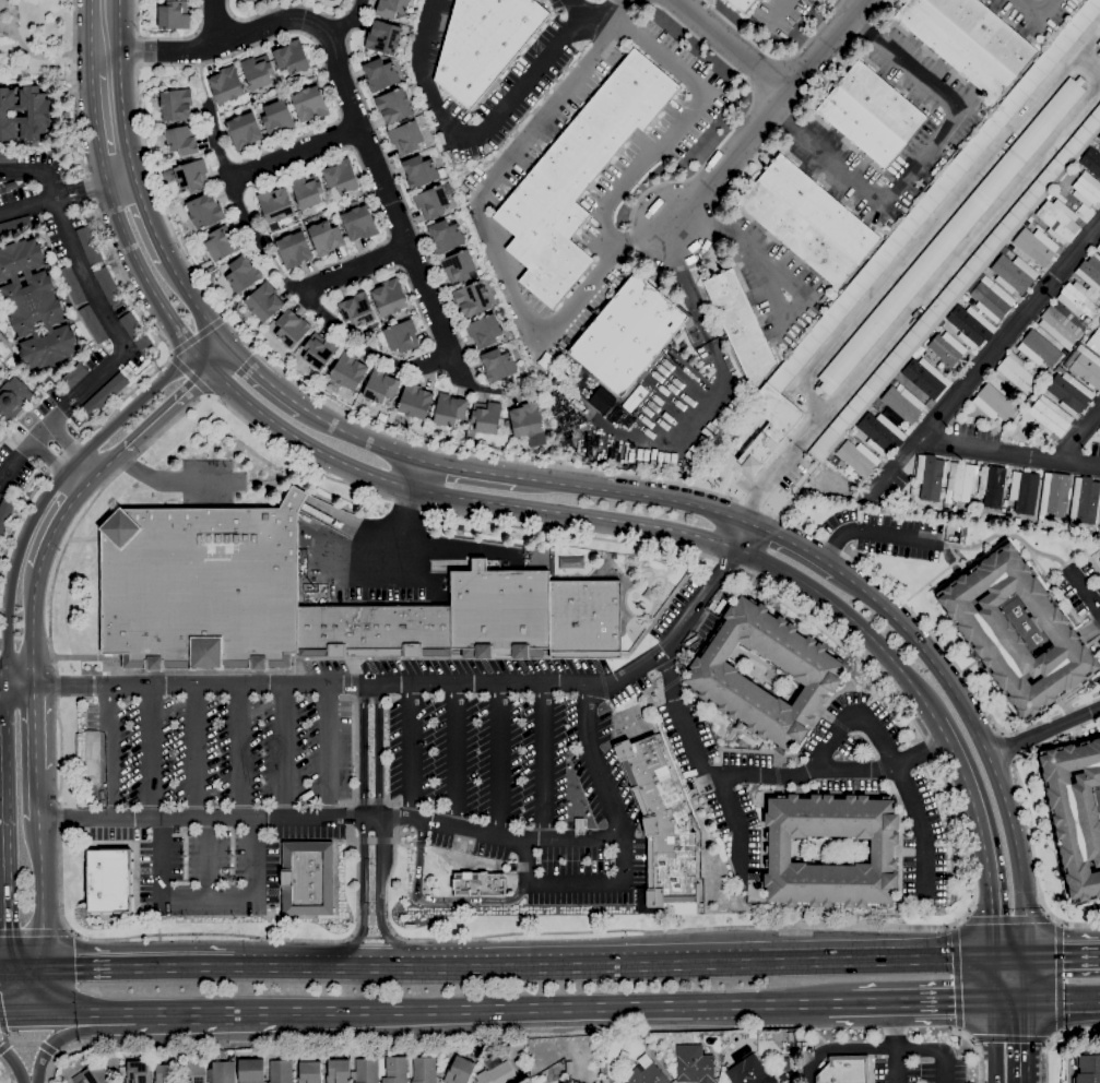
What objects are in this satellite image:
building: (248, 0)
road: (0, 4)
building: (742, 4)
road: (1027, 5)
building: (391, 8)
road: (779, 8)
road: (14, 9)
building: (173, 15)
road: (591, 17)
road: (348, 21)
road: (214, 22)
road: (73, 23)
building: (987, 32)
road: (165, 34)
road: (87, 37)
building: (383, 37)
park: (36, 38)
road: (1088, 39)
building: (1099, 43)
building: (484, 44)
road: (731, 45)
road: (145, 46)
road: (31, 47)
building: (956, 47)
building: (1099, 52)
road: (774, 56)
building: (292, 57)
building: (258, 71)
building: (380, 74)
building: (226, 84)
road: (121, 85)
building: (882, 100)
building: (310, 103)
building: (176, 104)
road: (353, 105)
building: (394, 105)
road: (767, 111)
building: (24, 112)
building: (277, 117)
road: (484, 120)
road: (533, 127)
building: (861, 127)
road: (96, 129)
building: (244, 130)
building: (406, 136)
building: (1099, 136)
building: (182, 139)
road: (295, 154)
building: (8, 156)
road: (920, 159)
building: (1091, 160)
building: (419, 170)
building: (192, 175)
building: (341, 176)
road: (119, 177)
building: (578, 177)
road: (230, 180)
building: (11, 186)
building: (1087, 189)
building: (307, 192)
building: (935, 194)
road: (54, 200)
building: (431, 202)
building: (275, 204)
building: (819, 209)
building: (204, 211)
road: (146, 215)
building: (1030, 218)
building: (1058, 219)
building: (358, 223)
building: (1027, 223)
road: (932, 225)
building: (15, 226)
building: (797, 234)
building: (950, 235)
building: (447, 236)
building: (326, 237)
building: (1099, 241)
building: (221, 243)
building: (90, 245)
building: (1036, 246)
building: (1098, 248)
building: (294, 249)
road: (637, 250)
building: (1004, 250)
building: (459, 265)
building: (986, 271)
building: (1090, 272)
building: (243, 273)
building: (1014, 273)
road: (776, 276)
road: (334, 279)
building: (72, 284)
building: (108, 285)
building: (957, 286)
building: (389, 297)
building: (472, 298)
building: (1078, 299)
building: (991, 300)
building: (264, 301)
road: (920, 302)
road: (197, 304)
building: (35, 305)
road: (100, 306)
building: (357, 309)
building: (942, 322)
building: (1087, 322)
building: (93, 323)
building: (1060, 323)
building: (1096, 324)
building: (741, 325)
building: (971, 325)
building: (292, 328)
building: (134, 330)
building: (484, 331)
building: (628, 334)
road: (159, 336)
building: (402, 336)
building: (1095, 342)
building: (684, 345)
building: (947, 348)
building: (1039, 348)
building: (319, 349)
building: (915, 354)
road: (986, 358)
road: (220, 359)
building: (499, 365)
road: (409, 366)
building: (1086, 366)
building: (1061, 369)
building: (348, 370)
building: (1050, 371)
building: (74, 374)
building: (1017, 374)
road: (187, 378)
road: (267, 378)
building: (926, 378)
building: (380, 386)
building: (108, 390)
building: (1071, 392)
building: (13, 397)
road: (714, 400)
building: (415, 401)
building: (903, 404)
building: (994, 404)
road: (167, 409)
building: (449, 409)
building: (1050, 417)
building: (487, 418)
building: (528, 423)
building: (769, 427)
building: (882, 433)
road: (1078, 436)
road: (359, 439)
road: (72, 448)
road: (1008, 454)
building: (859, 457)
road: (108, 461)
road: (55, 463)
road: (13, 464)
road: (468, 468)
road: (620, 475)
building: (930, 476)
road: (59, 478)
road: (168, 480)
building: (962, 480)
building: (992, 485)
building: (1022, 491)
road: (631, 493)
building: (1054, 495)
building: (1086, 500)
road: (483, 501)
building: (948, 503)
road: (405, 505)
building: (5, 513)
road: (60, 517)
road: (535, 528)
road: (873, 534)
road: (1005, 534)
road: (793, 543)
road: (956, 558)
building: (200, 574)
road: (930, 582)
road: (1085, 590)
road: (1062, 597)
road: (33, 624)
building: (990, 632)
road: (1093, 643)
road: (25, 650)
road: (388, 656)
building: (713, 673)
road: (355, 677)
road: (257, 678)
road: (2, 680)
road: (20, 681)
road: (429, 683)
road: (4, 694)
road: (678, 714)
road: (1050, 718)
road: (35, 726)
road: (1043, 730)
road: (286, 751)
road: (329, 751)
road: (410, 751)
road: (109, 752)
road: (152, 752)
road: (197, 752)
road: (243, 752)
road: (355, 753)
road: (456, 755)
road: (989, 759)
road: (500, 760)
road: (543, 761)
road: (594, 763)
road: (895, 766)
road: (831, 773)
parking lot: (339, 781)
road: (37, 796)
road: (369, 802)
road: (389, 802)
road: (347, 805)
road: (394, 805)
building: (1075, 813)
road: (733, 816)
road: (347, 817)
road: (394, 817)
road: (208, 820)
building: (661, 823)
road: (363, 826)
road: (378, 828)
road: (348, 832)
road: (982, 835)
road: (499, 836)
road: (281, 840)
road: (372, 840)
road: (7, 841)
road: (402, 843)
road: (39, 845)
road: (418, 847)
building: (779, 850)
road: (462, 856)
road: (208, 860)
building: (307, 878)
building: (109, 880)
building: (478, 883)
road: (577, 892)
road: (433, 900)
road: (209, 902)
road: (1048, 915)
road: (967, 917)
road: (42, 919)
road: (1007, 919)
road: (1061, 924)
road: (954, 926)
road: (70, 931)
road: (34, 932)
road: (356, 937)
road: (371, 937)
road: (389, 937)
road: (1063, 956)
road: (1009, 957)
traffic signals: (1027, 957)
road: (736, 959)
traffic signals: (993, 959)
road: (318, 963)
road: (442, 963)
road: (139, 966)
road: (26, 971)
traffic signals: (44, 971)
road: (4, 972)
traffic signals: (10, 972)
road: (1060, 976)
road: (956, 977)
road: (44, 989)
road: (11, 990)
road: (1063, 997)
road: (1010, 999)
traffic signals: (1027, 999)
traffic signals: (994, 1000)
road: (922, 1001)
road: (839, 1002)
road: (559, 1007)
road: (5, 1009)
traffic signals: (12, 1009)
road: (27, 1009)
traffic signals: (44, 1009)
road: (76, 1010)
road: (201, 1012)
road: (994, 1020)
road: (2, 1026)
road: (806, 1026)
road: (958, 1030)
road: (1061, 1031)
building: (790, 1035)
road: (60, 1036)
road: (943, 1038)
road: (1010, 1038)
road: (1054, 1038)
road: (972, 1039)
road: (1027, 1040)
road: (1049, 1040)
road: (26, 1043)
road: (895, 1043)
building: (790, 1047)
road: (840, 1048)
road: (935, 1048)
road: (977, 1050)
road: (58, 1055)
road: (16, 1060)
road: (59, 1060)
building: (695, 1064)
building: (569, 1067)
building: (1088, 1068)
parking lot: (920, 1069)
road: (7, 1070)
building: (250, 1070)
building: (309, 1070)
building: (365, 1070)
building: (395, 1070)
building: (424, 1070)
building: (844, 1070)
building: (281, 1071)
building: (339, 1071)
building: (460, 1071)
building: (496, 1071)
building: (138, 1072)
building: (194, 1072)
building: (221, 1072)
building: (646, 1072)
building: (750, 1072)
building: (166, 1073)
building: (95, 1074)
building: (604, 1081)

